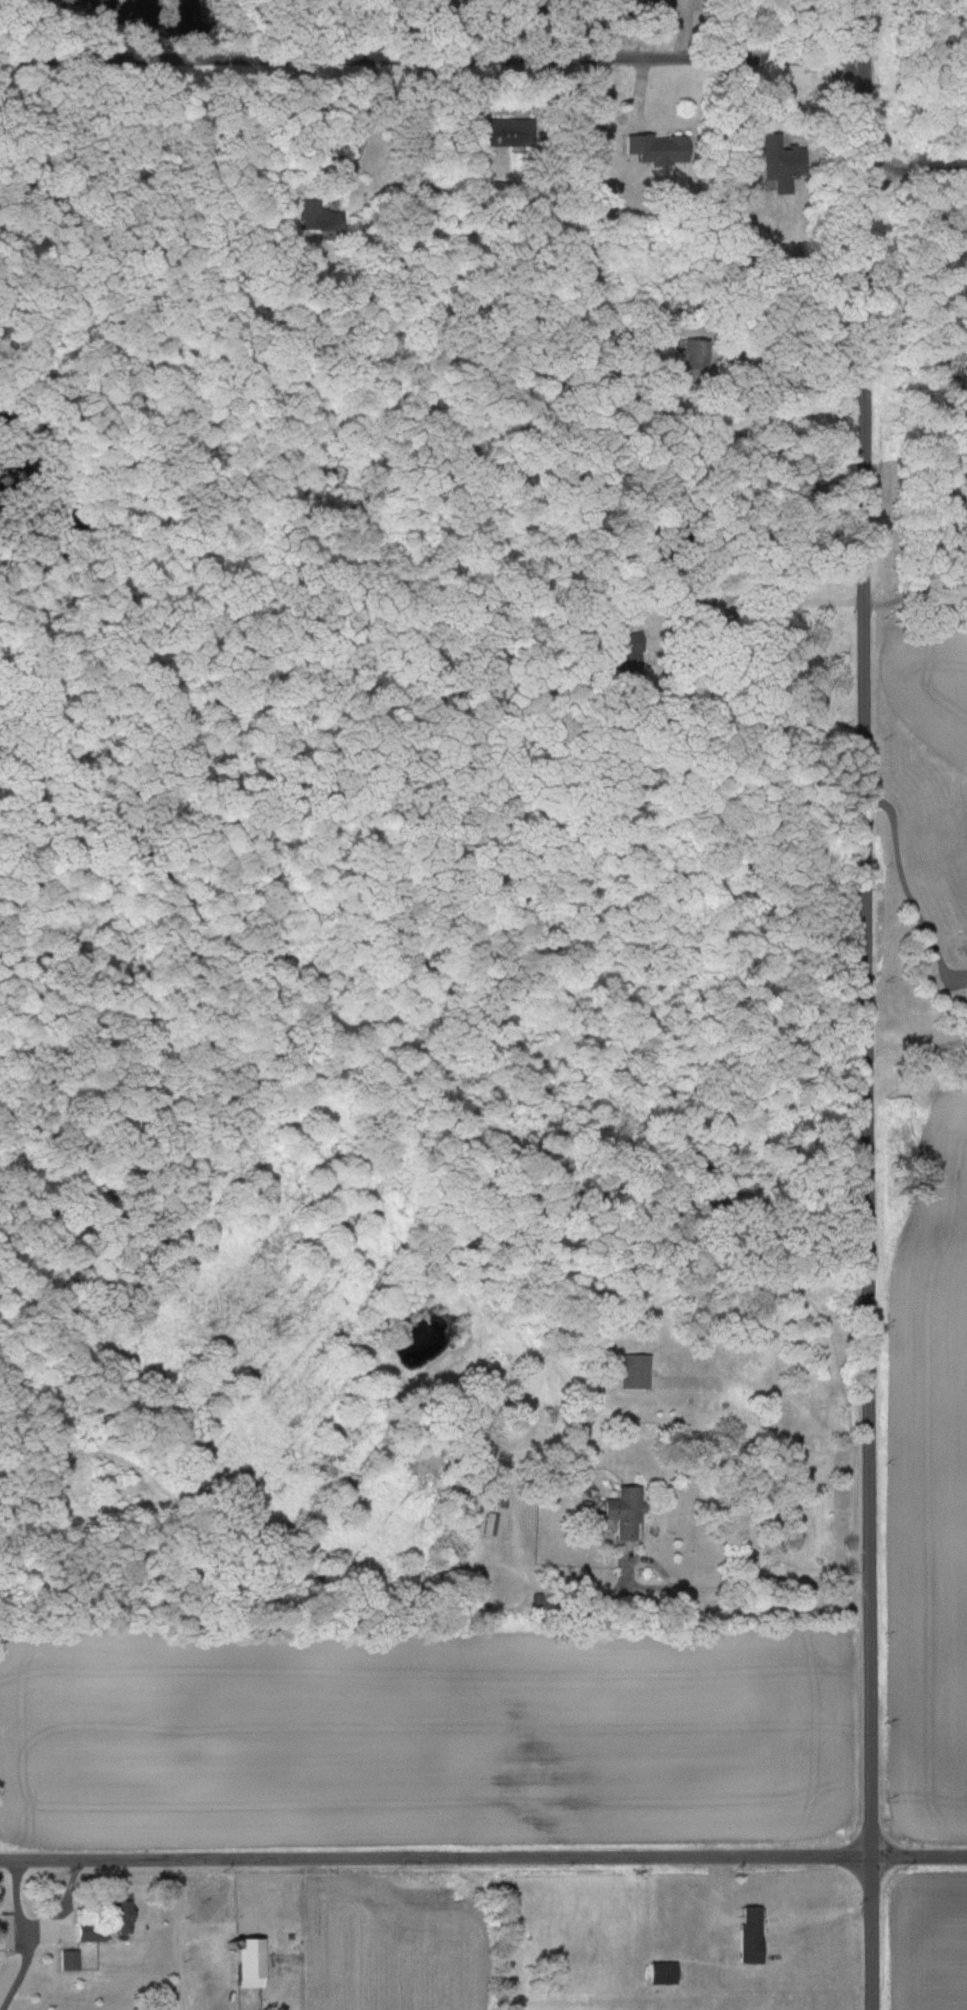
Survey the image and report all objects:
building: (643, 7)
road: (432, 59)
road: (362, 118)
building: (495, 132)
road: (45, 148)
building: (651, 148)
building: (779, 165)
road: (916, 173)
building: (315, 215)
building: (693, 355)
road: (916, 593)
building: (717, 606)
road: (763, 609)
road: (906, 888)
road: (866, 1005)
building: (626, 1514)
building: (490, 1524)
road: (742, 1573)
road: (483, 1859)
building: (105, 1919)
building: (5, 1930)
building: (750, 1934)
road: (178, 1935)
road: (25, 1937)
building: (69, 1959)
building: (248, 1962)
building: (663, 1973)

